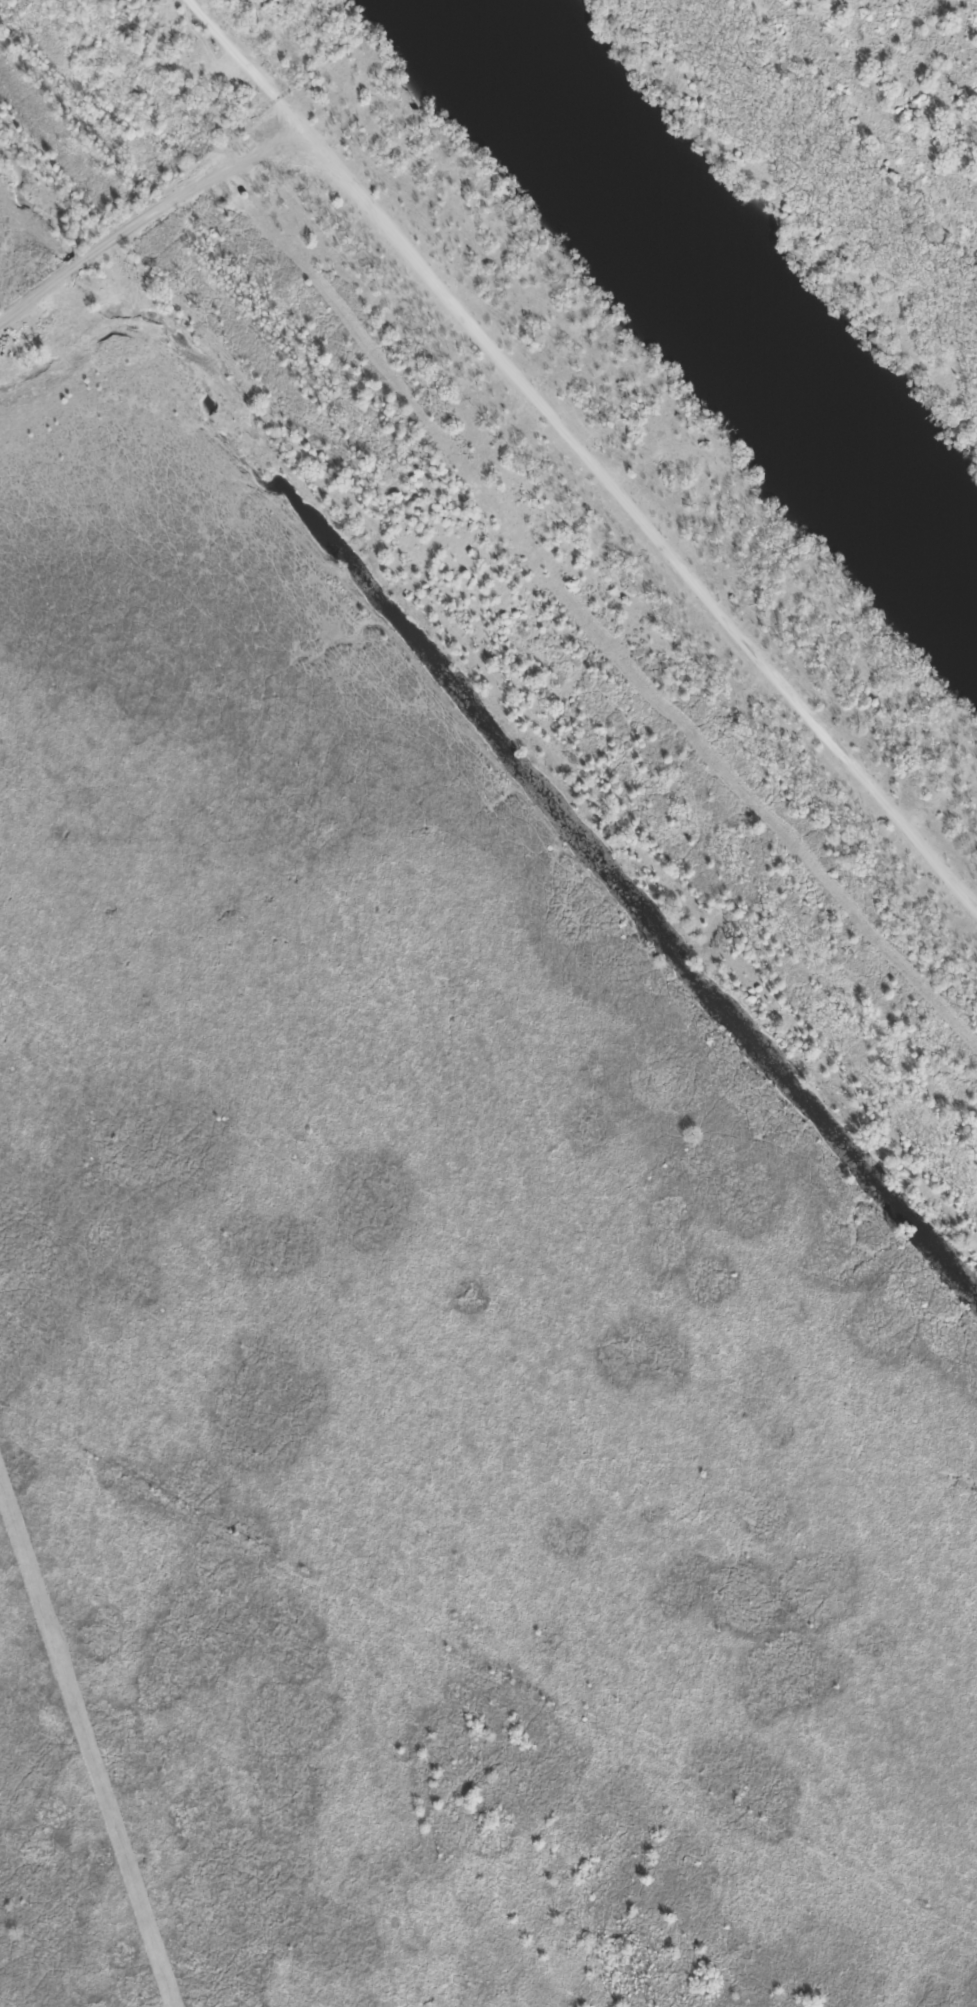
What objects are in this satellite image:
road: (146, 215)
road: (586, 451)

